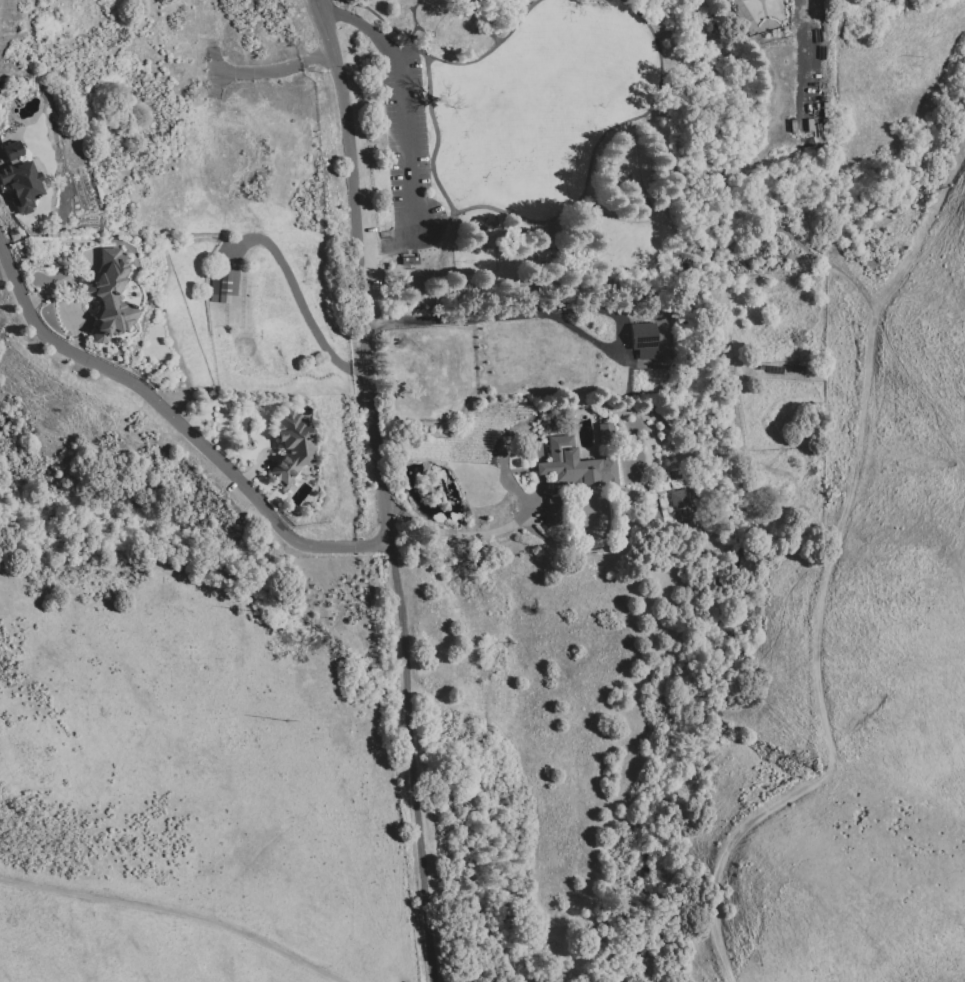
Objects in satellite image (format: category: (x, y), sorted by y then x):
road: (319, 5)
road: (363, 23)
road: (409, 53)
road: (272, 70)
parking lot: (398, 140)
building: (11, 150)
road: (407, 161)
park: (566, 162)
road: (673, 166)
building: (21, 184)
road: (489, 207)
road: (434, 219)
road: (623, 219)
road: (921, 229)
road: (755, 254)
road: (360, 274)
building: (223, 285)
road: (296, 293)
building: (108, 296)
road: (548, 314)
building: (642, 340)
road: (920, 391)
road: (176, 422)
building: (603, 433)
building: (290, 445)
building: (573, 465)
building: (678, 498)
road: (532, 500)
building: (552, 510)
road: (958, 568)
road: (821, 647)
road: (410, 761)
road: (173, 913)

